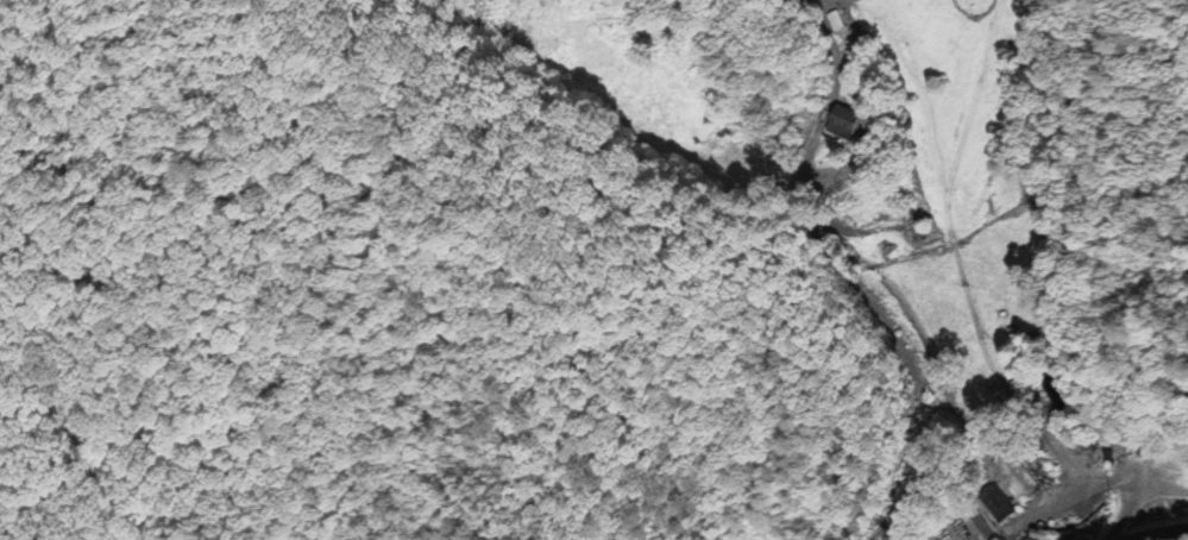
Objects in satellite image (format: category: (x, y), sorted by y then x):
building: (849, 125)
road: (897, 344)
building: (997, 506)
road: (1168, 535)

